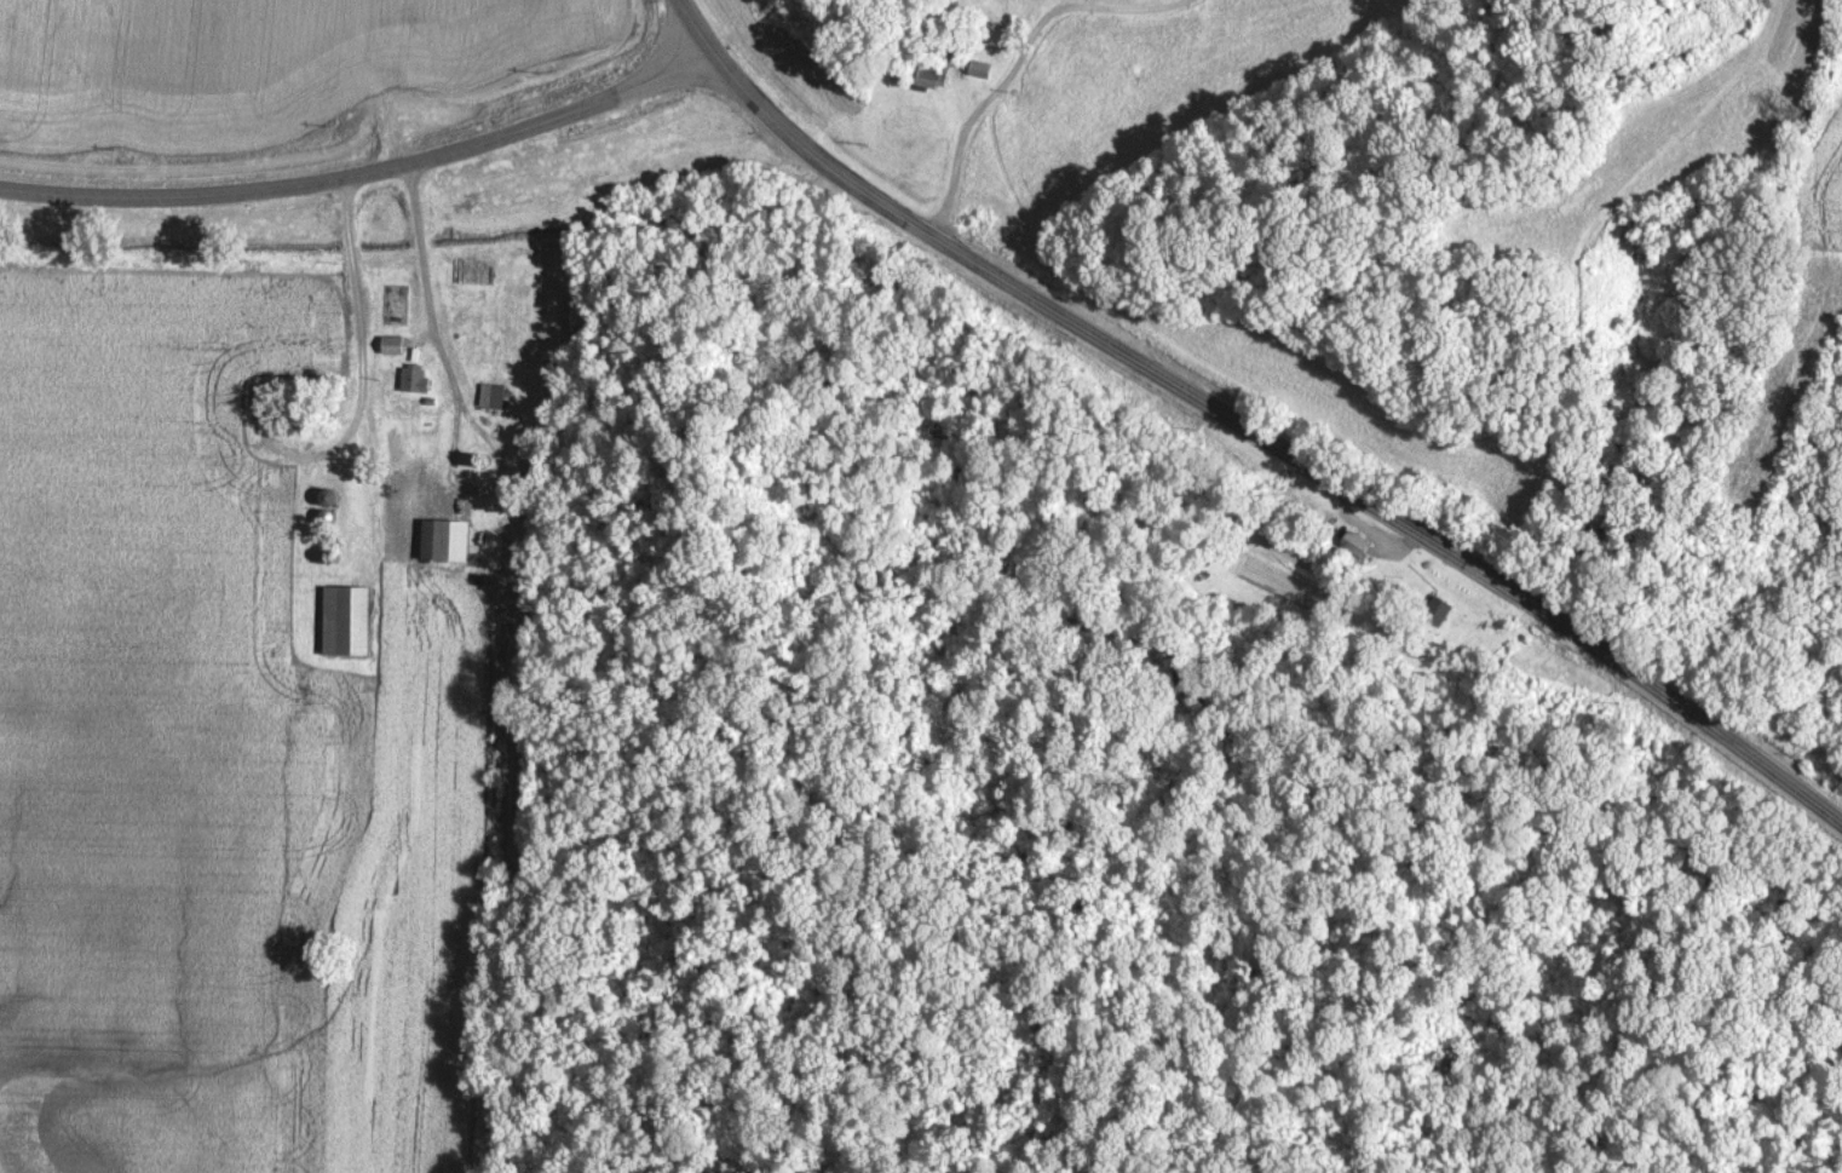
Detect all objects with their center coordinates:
road: (1014, 64)
building: (933, 69)
building: (983, 69)
road: (364, 177)
road: (421, 253)
building: (466, 269)
building: (397, 303)
building: (581, 321)
building: (393, 344)
road: (359, 353)
building: (416, 378)
building: (487, 396)
road: (1242, 429)
building: (329, 495)
building: (453, 539)
building: (1439, 610)
building: (347, 619)

